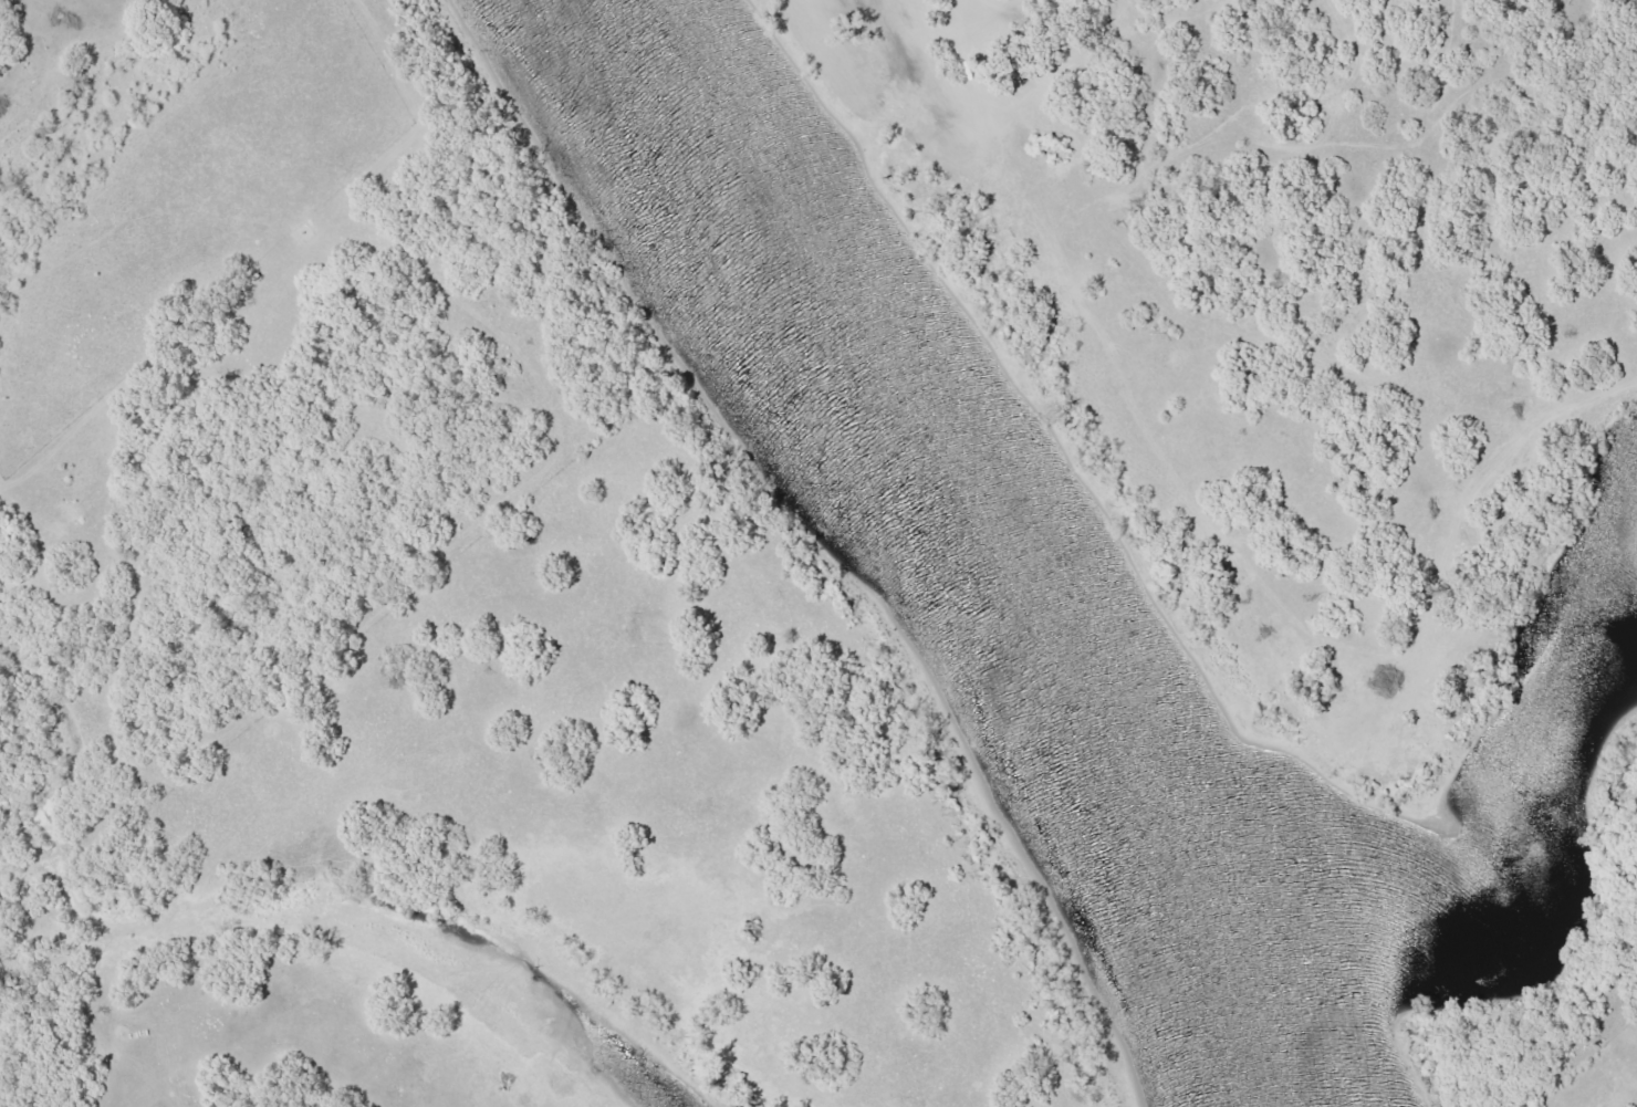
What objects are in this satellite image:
road: (981, 77)
river: (981, 523)

